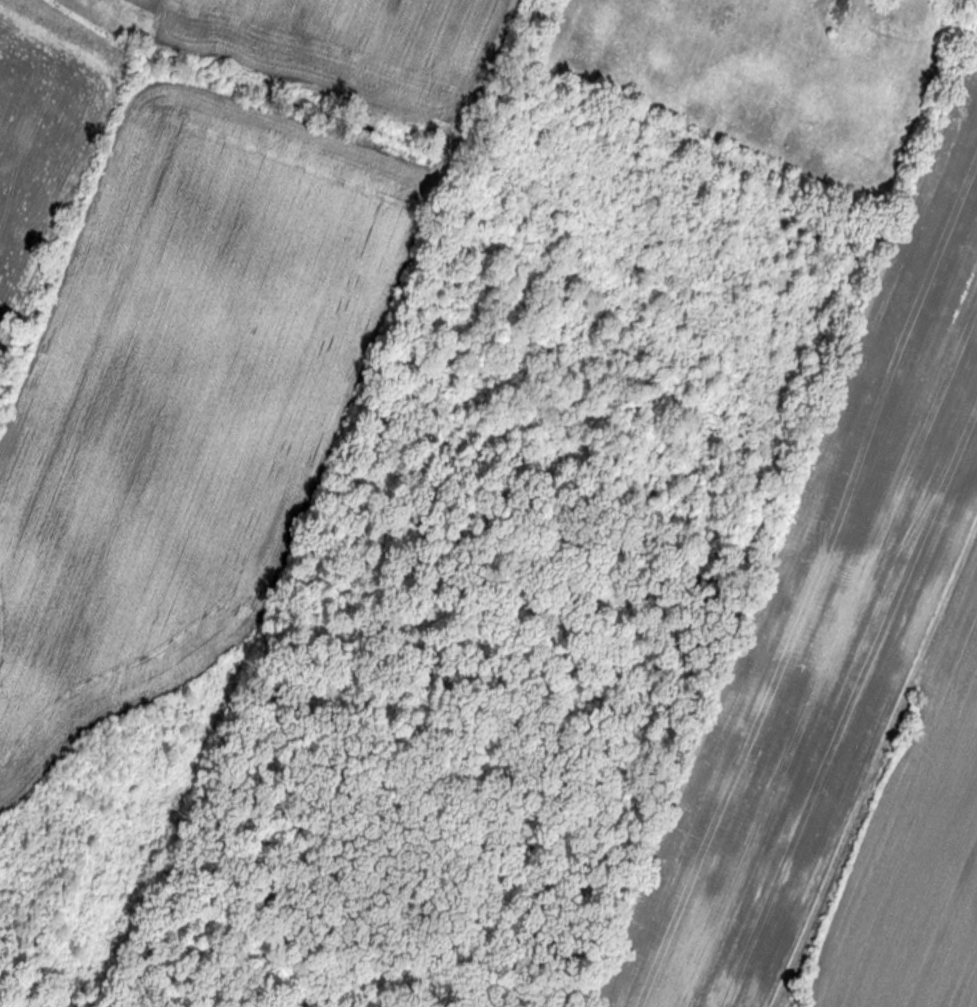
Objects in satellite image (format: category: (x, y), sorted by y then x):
crop: (331, 46)
crop: (35, 155)
crop: (169, 483)
crop: (826, 634)
crop: (912, 848)

